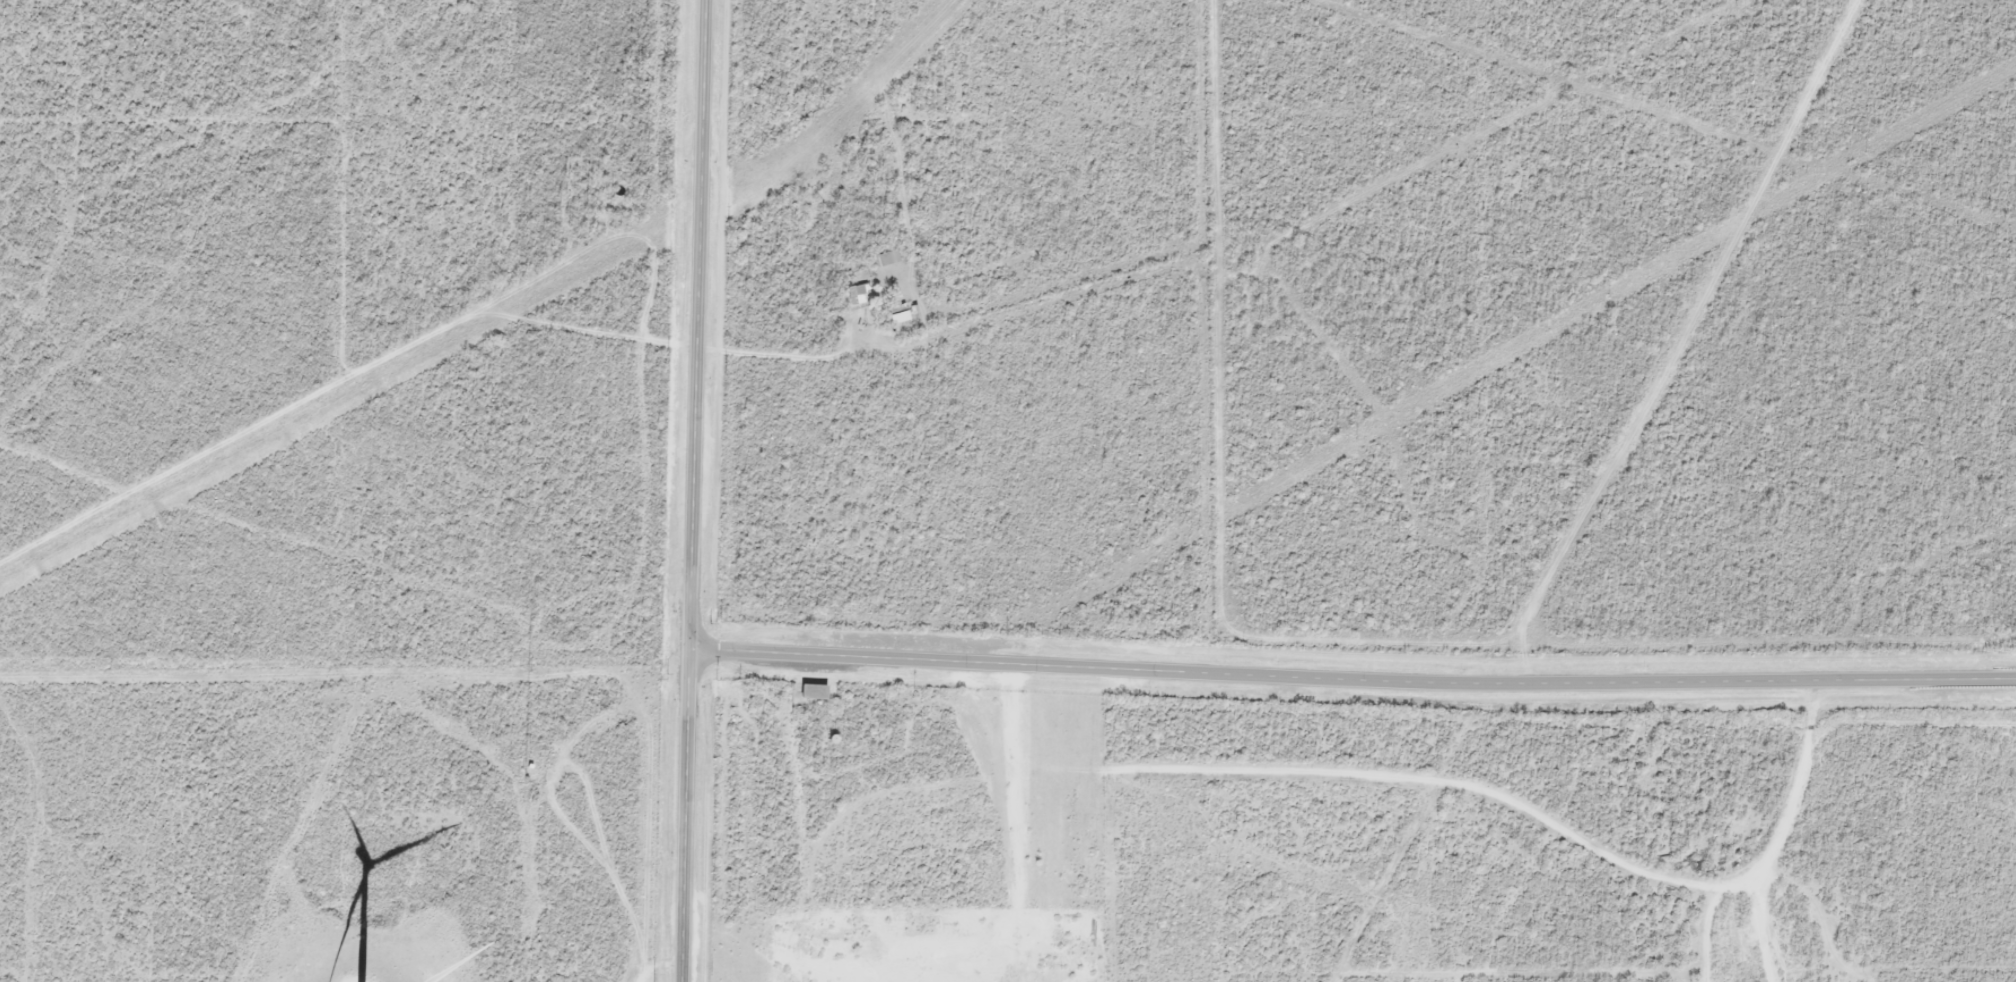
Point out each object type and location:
building: (887, 257)
building: (859, 293)
building: (898, 313)
road: (697, 490)
road: (1354, 674)
building: (813, 690)

